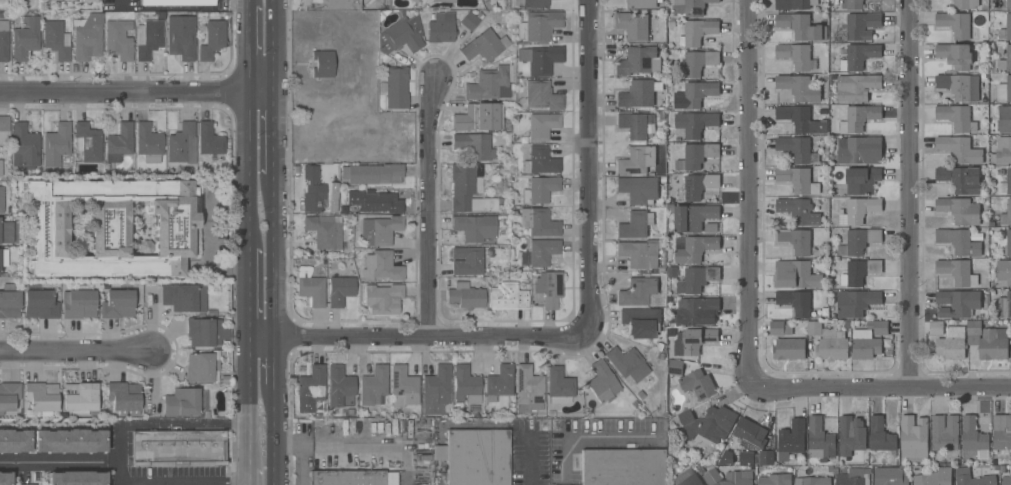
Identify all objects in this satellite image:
building: (86, 0)
building: (413, 1)
building: (444, 1)
road: (118, 2)
building: (177, 3)
building: (500, 3)
building: (532, 3)
building: (641, 3)
road: (247, 4)
building: (792, 4)
building: (847, 4)
building: (965, 4)
building: (1005, 4)
building: (329, 5)
building: (487, 5)
building: (689, 7)
building: (480, 16)
building: (469, 21)
building: (955, 24)
building: (632, 25)
building: (861, 25)
building: (538, 26)
building: (801, 27)
building: (441, 28)
building: (1005, 29)
building: (696, 32)
building: (401, 36)
building: (87, 37)
building: (180, 37)
building: (25, 39)
building: (57, 39)
building: (119, 39)
building: (148, 39)
building: (211, 40)
building: (3, 41)
road: (273, 45)
building: (483, 45)
road: (246, 50)
building: (795, 55)
building: (955, 55)
building: (859, 56)
building: (540, 59)
building: (1005, 60)
building: (638, 61)
building: (695, 63)
building: (322, 64)
building: (489, 85)
building: (856, 87)
building: (959, 87)
building: (396, 88)
building: (799, 88)
building: (1004, 90)
road: (136, 91)
building: (698, 93)
building: (639, 94)
building: (542, 95)
building: (823, 113)
building: (488, 117)
building: (858, 118)
building: (957, 118)
building: (800, 119)
building: (1004, 119)
building: (462, 120)
building: (695, 123)
building: (4, 125)
building: (542, 125)
building: (636, 125)
building: (992, 128)
road: (273, 134)
building: (209, 140)
building: (87, 142)
building: (119, 143)
building: (148, 143)
building: (182, 144)
building: (56, 146)
building: (473, 146)
building: (24, 147)
building: (795, 148)
building: (959, 149)
building: (859, 150)
building: (1003, 150)
building: (696, 156)
building: (814, 158)
building: (636, 160)
building: (541, 161)
building: (0, 168)
road: (589, 169)
road: (246, 173)
building: (373, 174)
building: (960, 179)
building: (798, 180)
building: (862, 180)
building: (1005, 184)
building: (696, 187)
building: (469, 189)
building: (540, 189)
building: (638, 189)
building: (312, 190)
road: (750, 194)
road: (910, 196)
building: (1, 199)
building: (375, 201)
building: (959, 210)
road: (428, 211)
building: (798, 211)
building: (858, 211)
building: (1006, 214)
building: (693, 217)
building: (538, 222)
building: (633, 225)
building: (709, 226)
building: (111, 227)
building: (474, 227)
road: (208, 229)
building: (379, 230)
building: (323, 231)
building: (6, 233)
building: (796, 241)
building: (859, 241)
building: (958, 241)
building: (1008, 243)
building: (693, 248)
building: (539, 252)
building: (640, 253)
building: (3, 257)
road: (273, 259)
building: (469, 260)
building: (381, 266)
building: (957, 271)
building: (1003, 271)
building: (671, 272)
building: (859, 272)
building: (795, 275)
building: (697, 279)
building: (310, 287)
building: (548, 288)
building: (339, 290)
building: (637, 291)
building: (465, 296)
building: (183, 297)
building: (508, 297)
road: (245, 298)
building: (385, 298)
building: (9, 302)
building: (118, 302)
building: (795, 302)
building: (856, 302)
building: (78, 303)
building: (957, 303)
building: (39, 305)
building: (1004, 306)
building: (693, 310)
building: (641, 322)
building: (878, 327)
building: (780, 328)
building: (814, 328)
building: (936, 328)
building: (205, 333)
road: (417, 341)
building: (693, 341)
building: (988, 341)
building: (952, 343)
building: (865, 344)
building: (832, 345)
building: (659, 347)
building: (789, 349)
road: (76, 352)
building: (660, 357)
building: (627, 364)
road: (274, 365)
building: (675, 367)
building: (200, 368)
road: (152, 381)
building: (602, 382)
building: (499, 383)
building: (373, 385)
building: (404, 385)
building: (466, 385)
building: (339, 386)
building: (559, 386)
building: (697, 386)
building: (435, 390)
building: (528, 390)
building: (311, 391)
road: (884, 391)
building: (640, 395)
building: (9, 396)
building: (41, 398)
building: (79, 398)
building: (124, 398)
building: (181, 403)
road: (244, 405)
building: (635, 405)
building: (641, 412)
building: (708, 423)
road: (150, 426)
building: (1002, 432)
building: (749, 433)
building: (945, 434)
road: (274, 436)
building: (421, 437)
building: (881, 437)
building: (974, 437)
building: (791, 439)
building: (913, 439)
building: (820, 440)
building: (852, 440)
building: (14, 441)
building: (69, 441)
building: (178, 448)
building: (439, 453)
building: (477, 457)
building: (424, 458)
building: (726, 458)
building: (766, 458)
road: (529, 459)
building: (747, 459)
road: (51, 463)
building: (621, 467)
building: (701, 470)
building: (889, 476)
road: (244, 477)
building: (854, 477)
building: (934, 477)
building: (962, 477)
building: (5, 478)
building: (76, 478)
building: (353, 478)
building: (728, 478)
building: (687, 479)
building: (775, 479)
building: (1006, 480)
building: (813, 481)
road: (231, 484)

